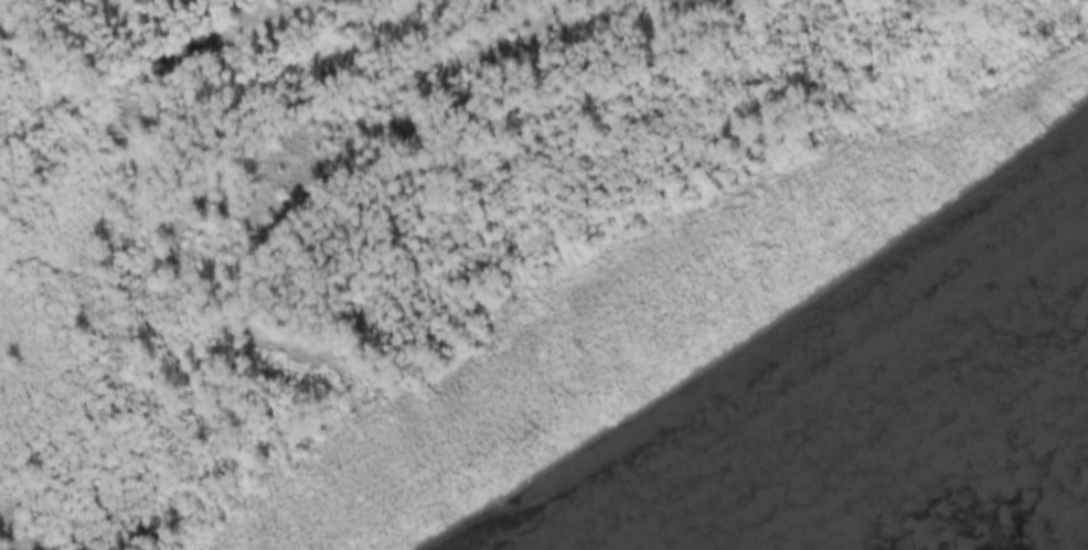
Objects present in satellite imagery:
river: (1025, 505)

